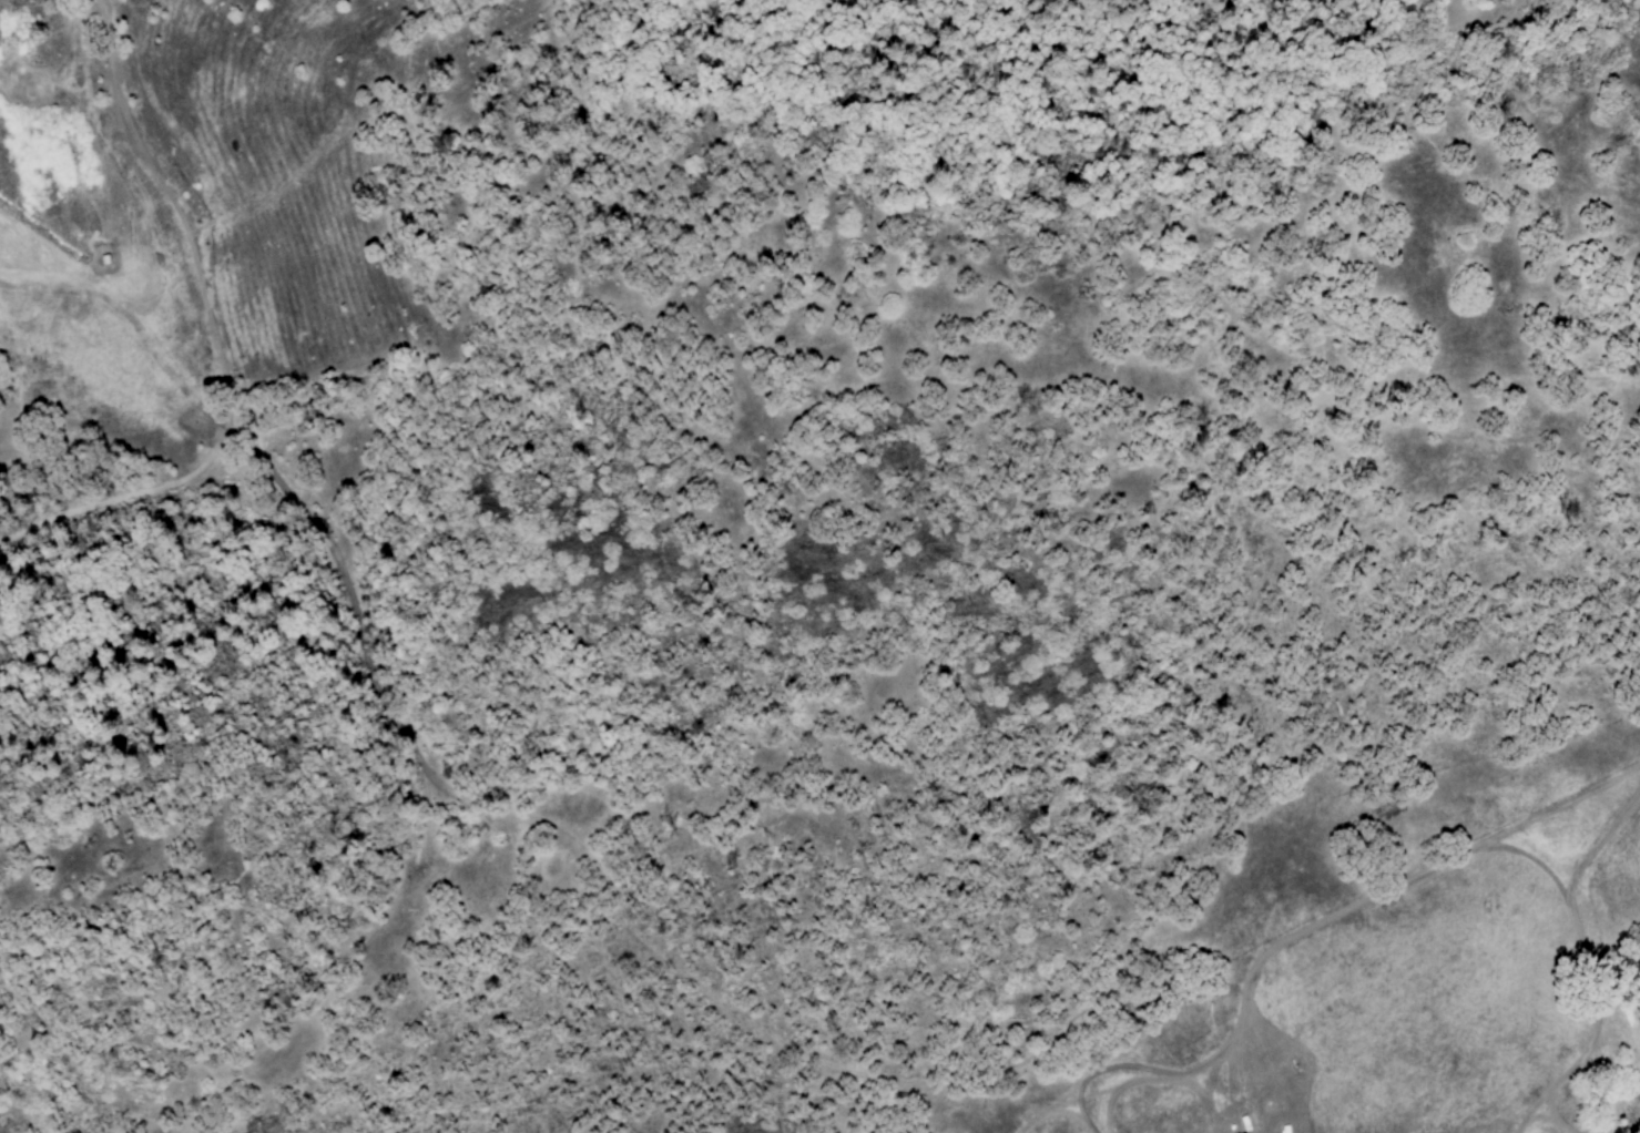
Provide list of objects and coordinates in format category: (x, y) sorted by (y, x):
road: (207, 333)

